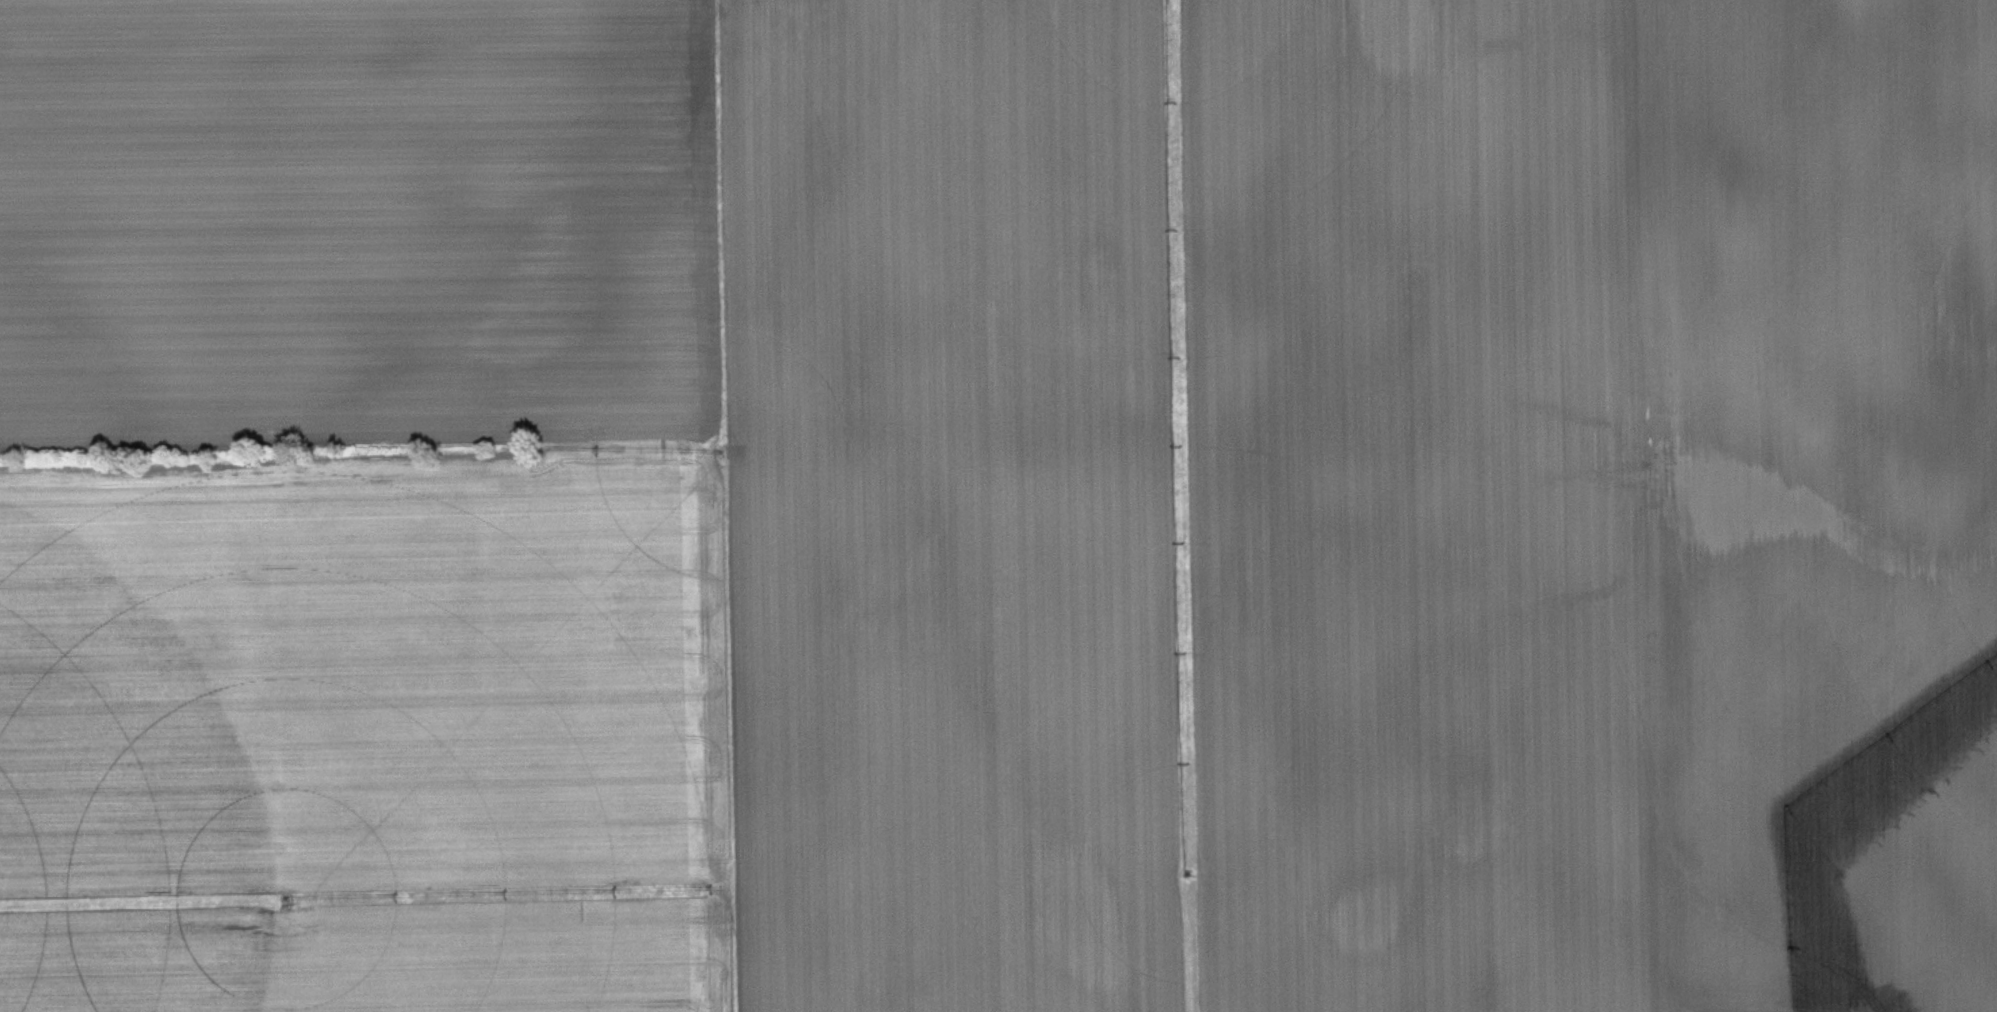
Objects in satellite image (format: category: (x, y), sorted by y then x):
crop: (362, 218)
crop: (1820, 502)
crop: (949, 505)
crop: (1419, 506)
crop: (372, 725)

